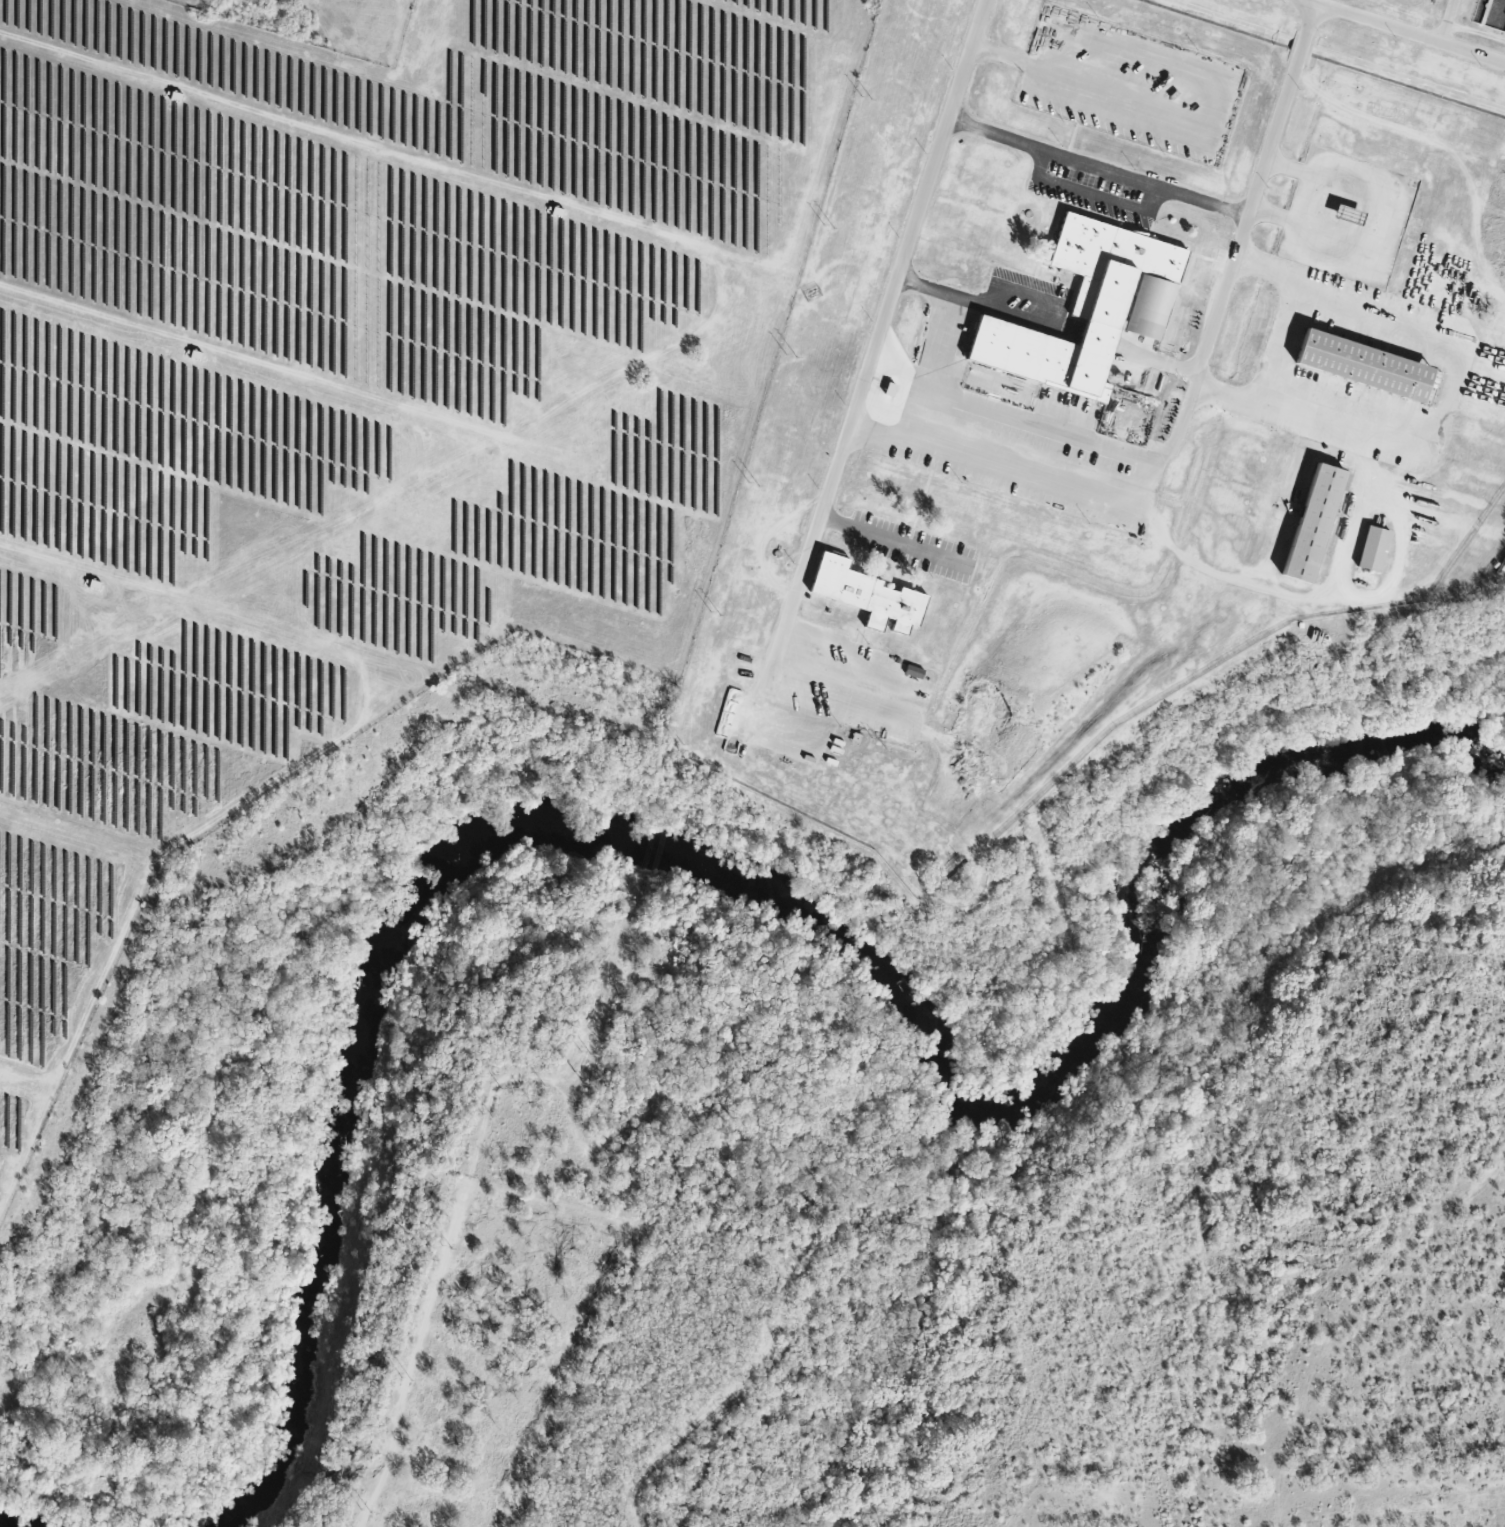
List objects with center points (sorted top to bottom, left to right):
wastewater plant: (325, 24)
road: (1409, 33)
road: (1148, 185)
road: (1381, 223)
road: (996, 289)
building: (1090, 307)
building: (1365, 365)
road: (1448, 396)
wastewater plant: (1104, 398)
solar farm: (359, 403)
road: (901, 411)
road: (1009, 414)
road: (1014, 472)
road: (828, 483)
road: (890, 540)
building: (1373, 548)
road: (1357, 588)
building: (867, 594)
building: (913, 671)
river: (747, 877)

